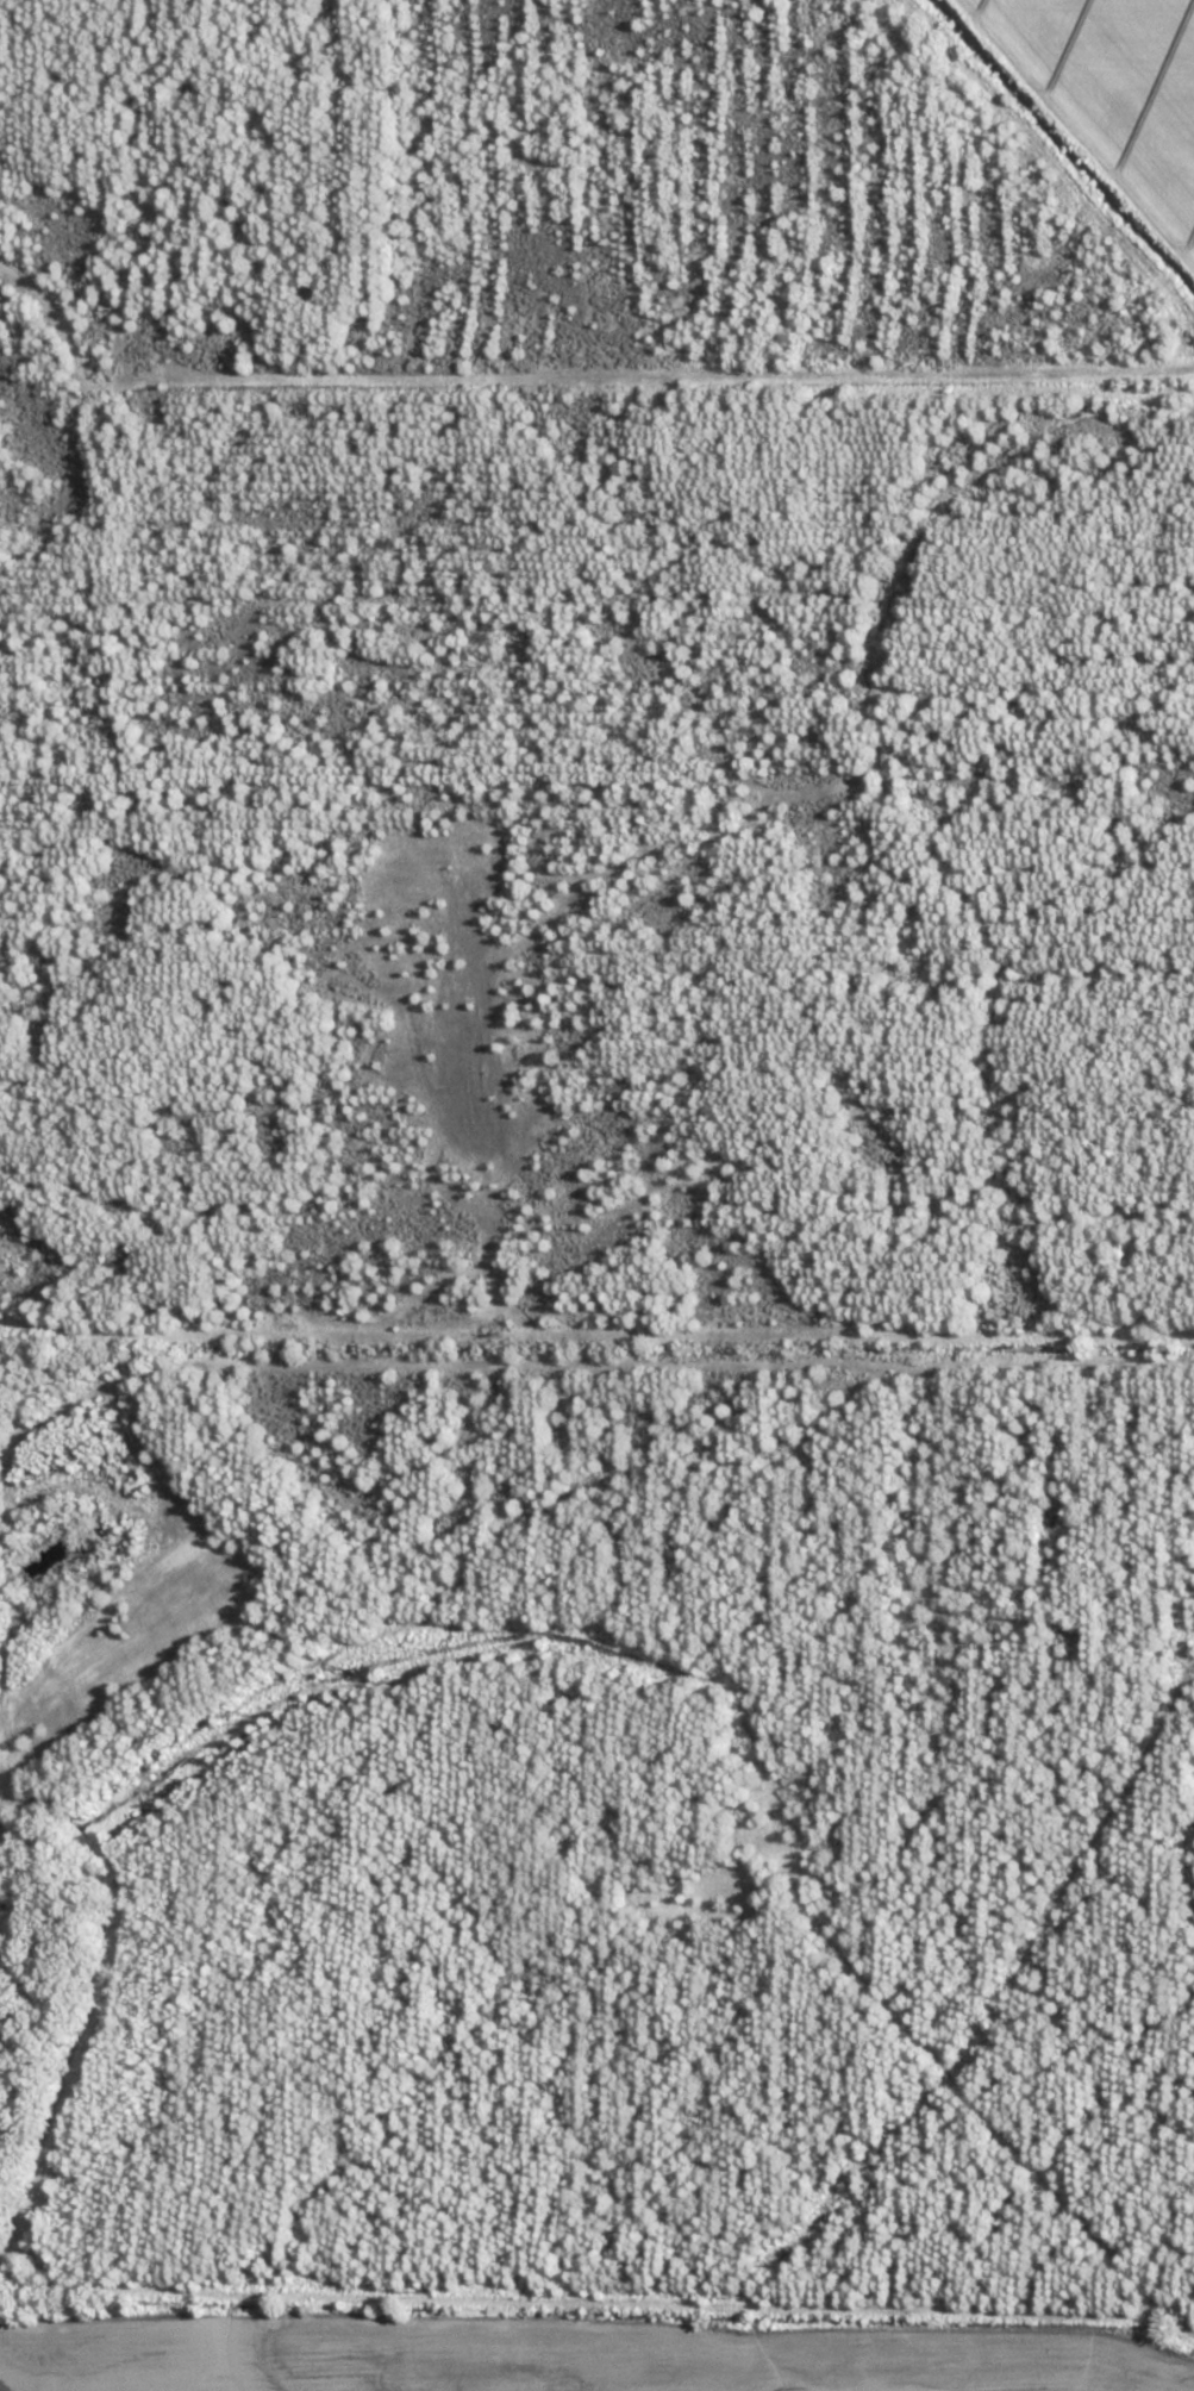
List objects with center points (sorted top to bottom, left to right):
road: (612, 372)
road: (781, 1852)

